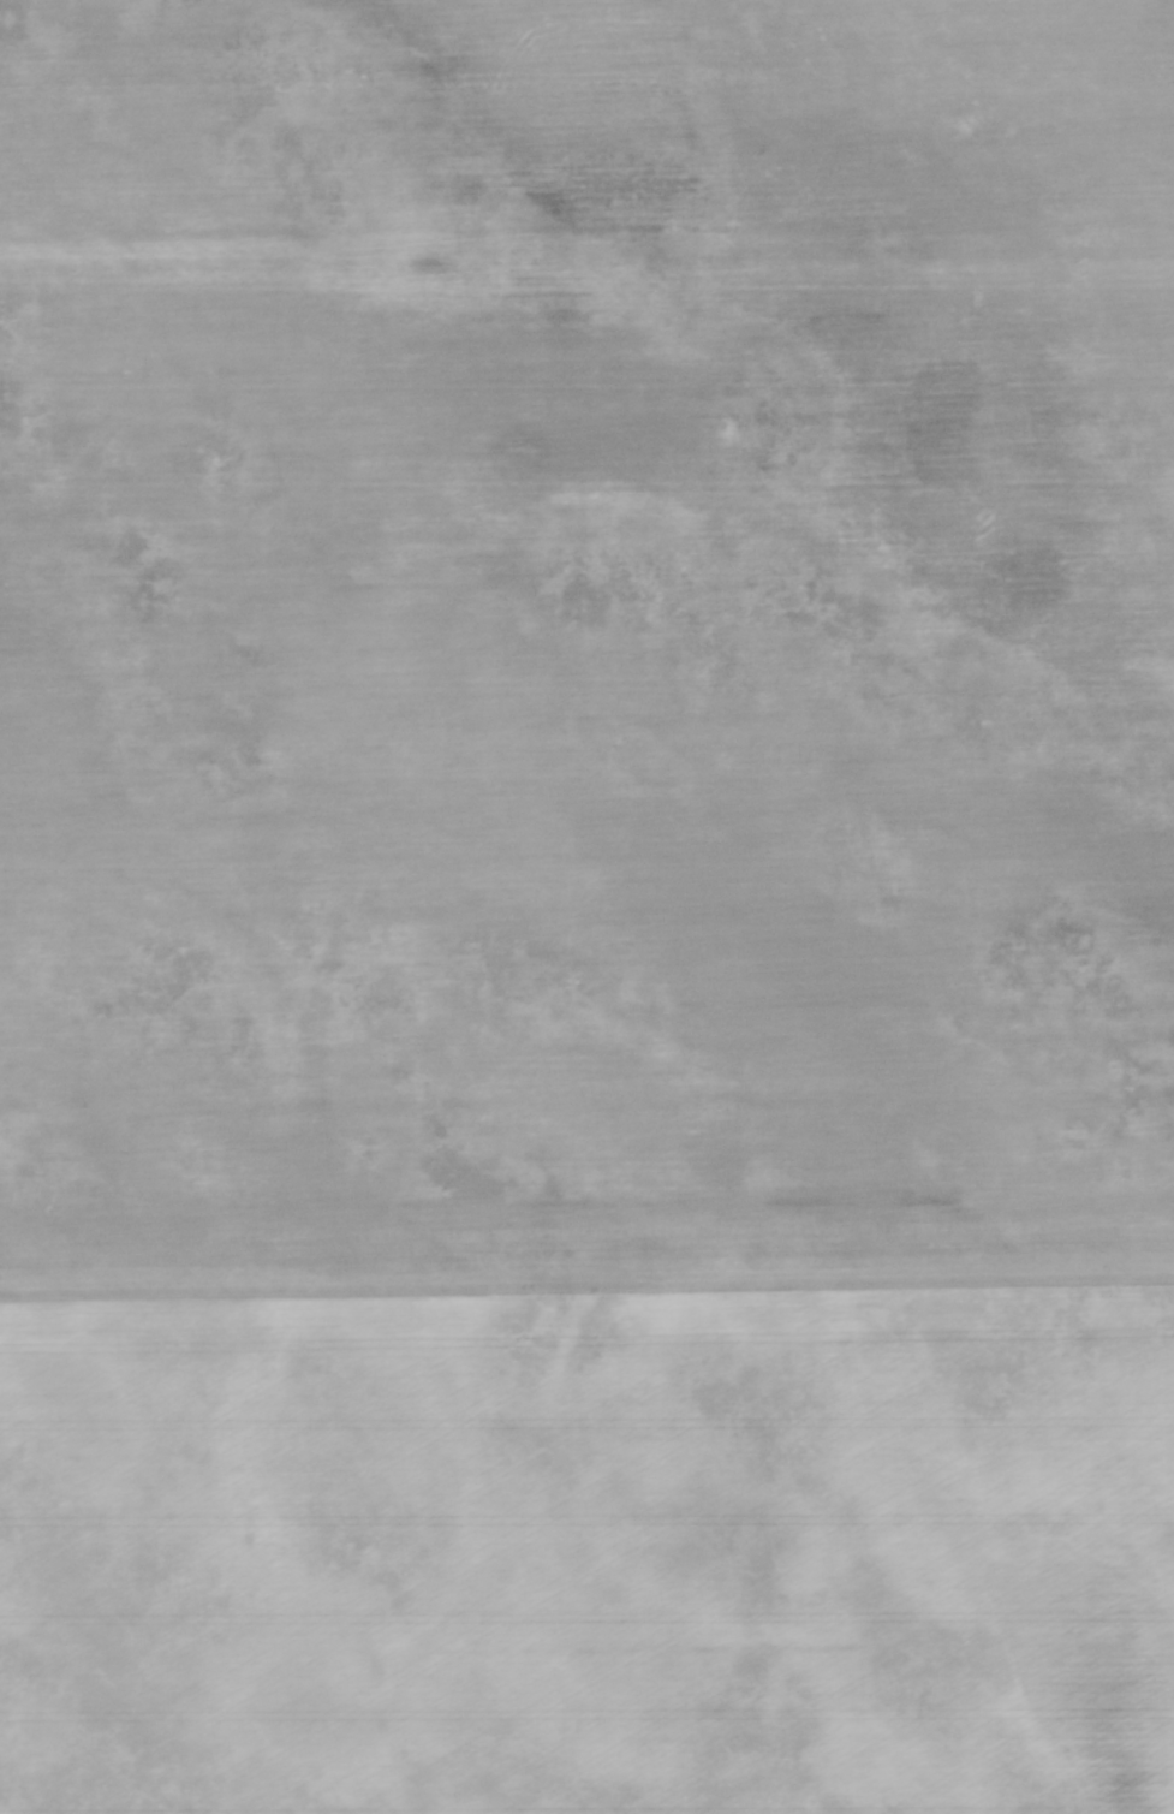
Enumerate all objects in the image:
crop: (586, 906)

